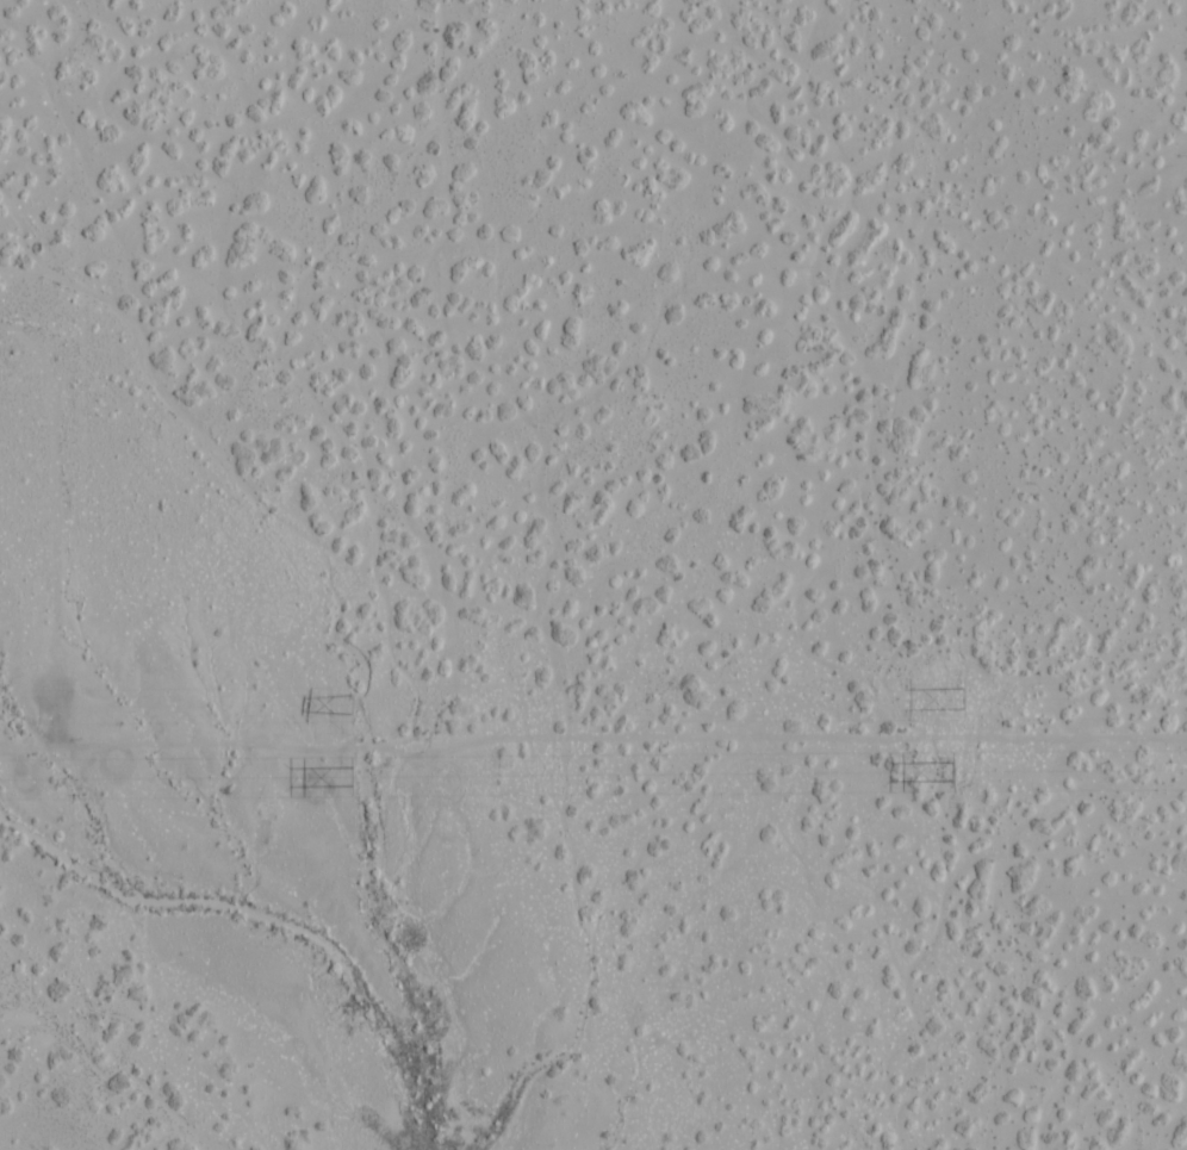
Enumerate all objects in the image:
power tower: (946, 700)
power tower: (348, 702)
power tower: (946, 770)
power tower: (349, 773)

